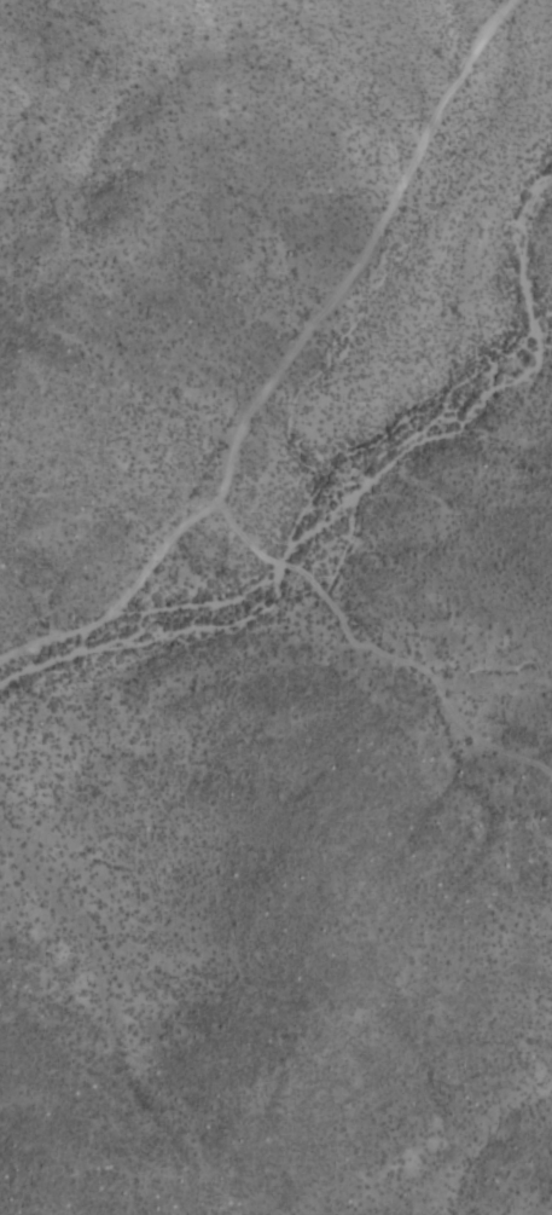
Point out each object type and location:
road: (272, 341)
road: (371, 655)

